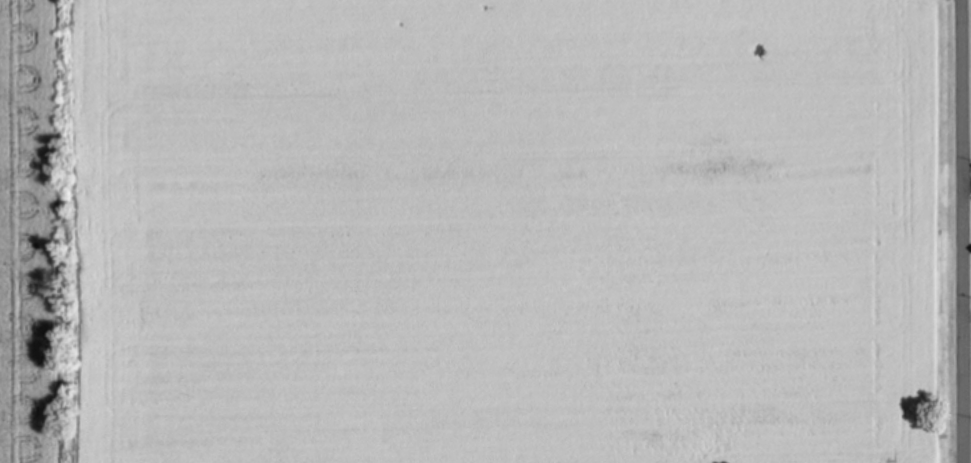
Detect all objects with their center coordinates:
road: (953, 231)

